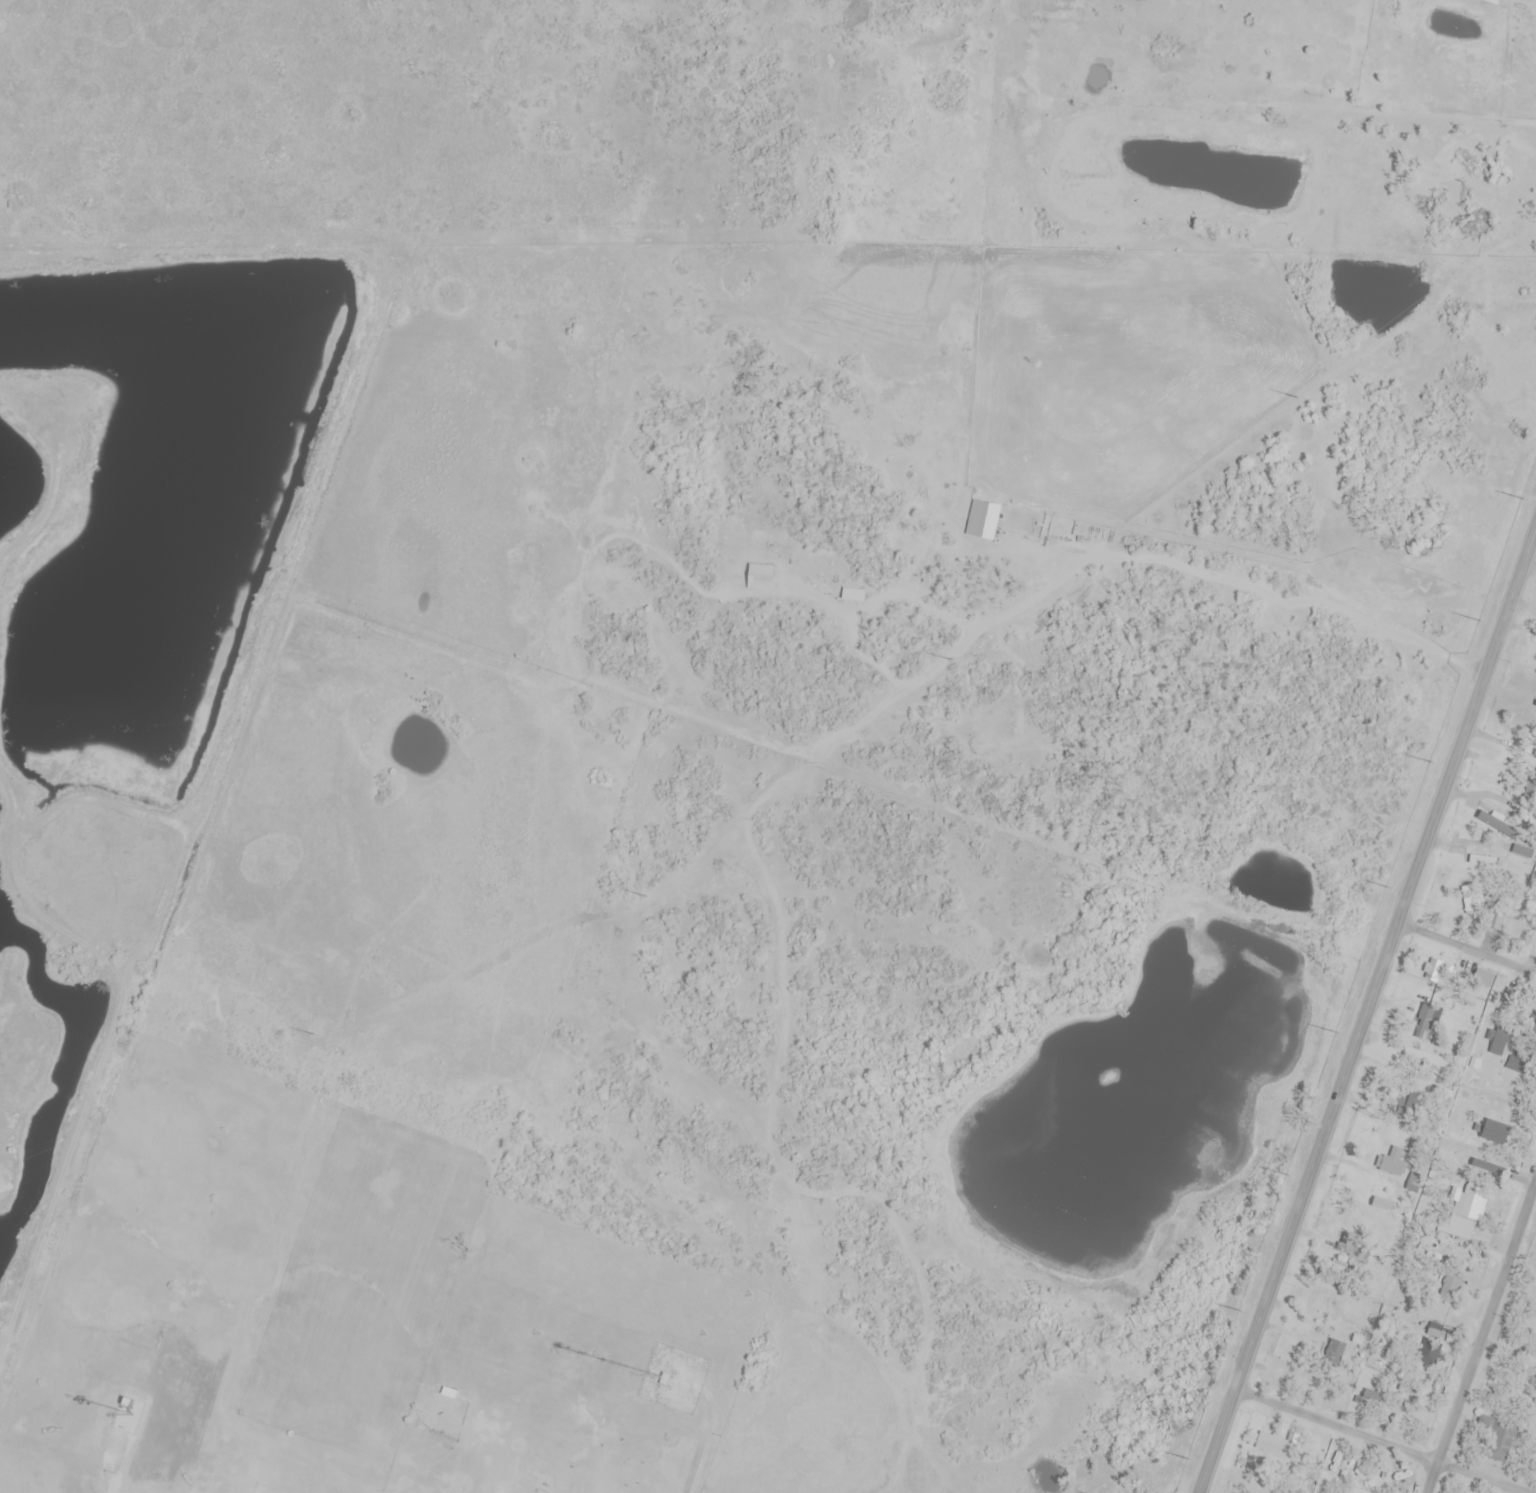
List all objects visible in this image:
building: (1491, 2)
road: (1069, 566)
building: (853, 596)
building: (1523, 722)
building: (1482, 862)
building: (1495, 921)
road: (1470, 944)
building: (1482, 979)
road: (1371, 1015)
building: (1427, 1023)
building: (1498, 1043)
building: (1395, 1162)
building: (1460, 1227)
building: (1451, 1288)
road: (1480, 1340)
building: (1334, 1352)
building: (1430, 1353)
building: (122, 1409)
building: (1497, 1436)
building: (1266, 1441)
road: (1381, 1442)
building: (418, 1447)

